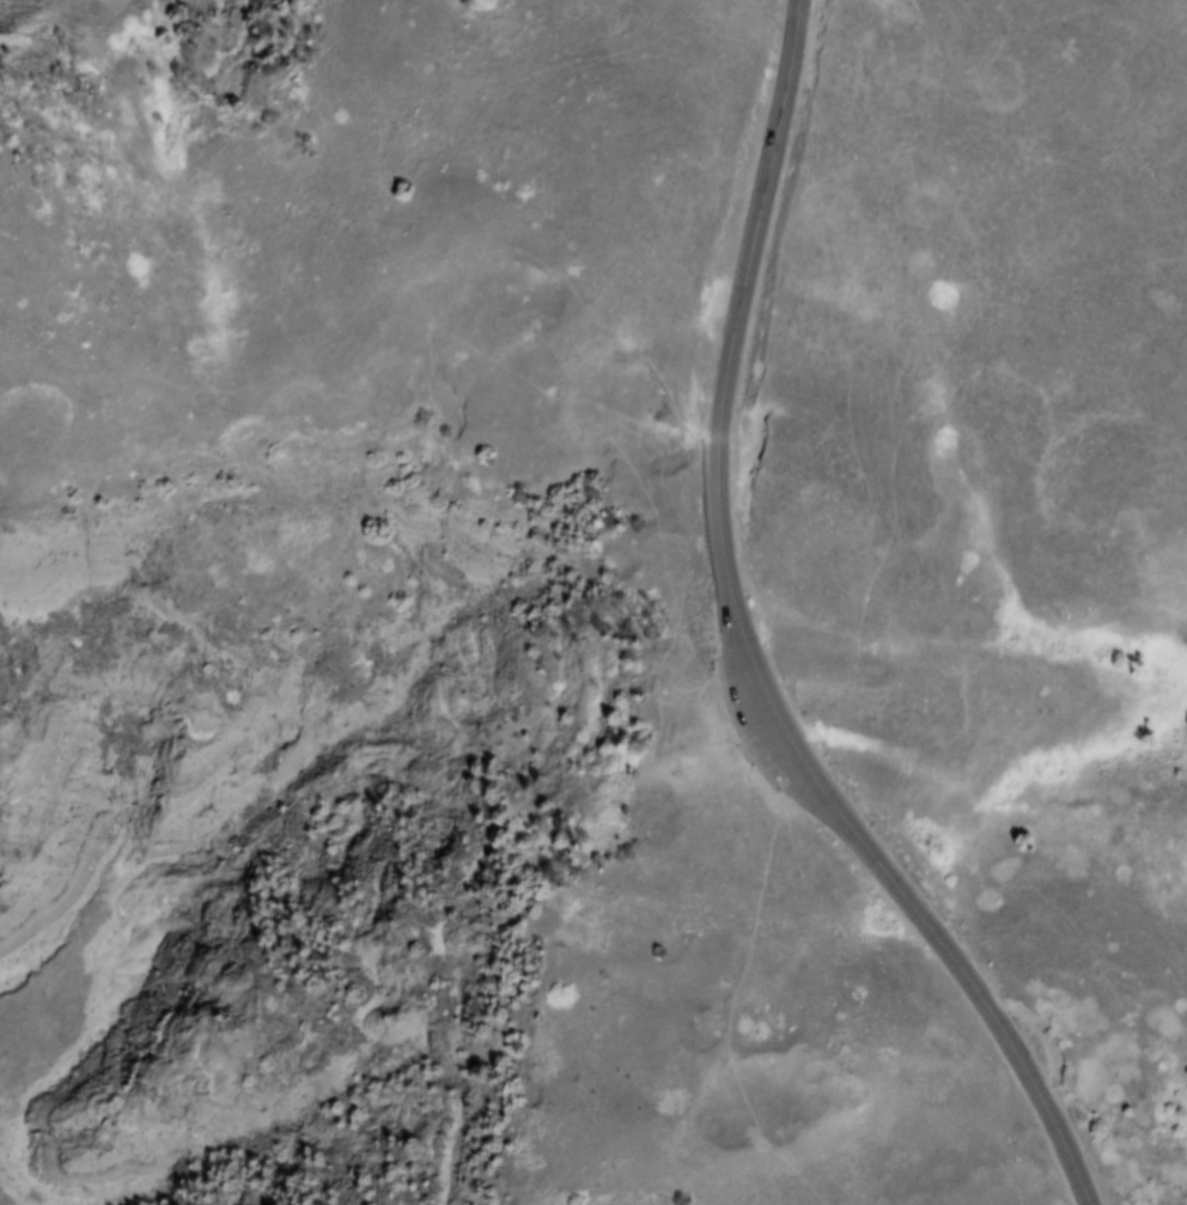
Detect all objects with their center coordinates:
road: (743, 645)

